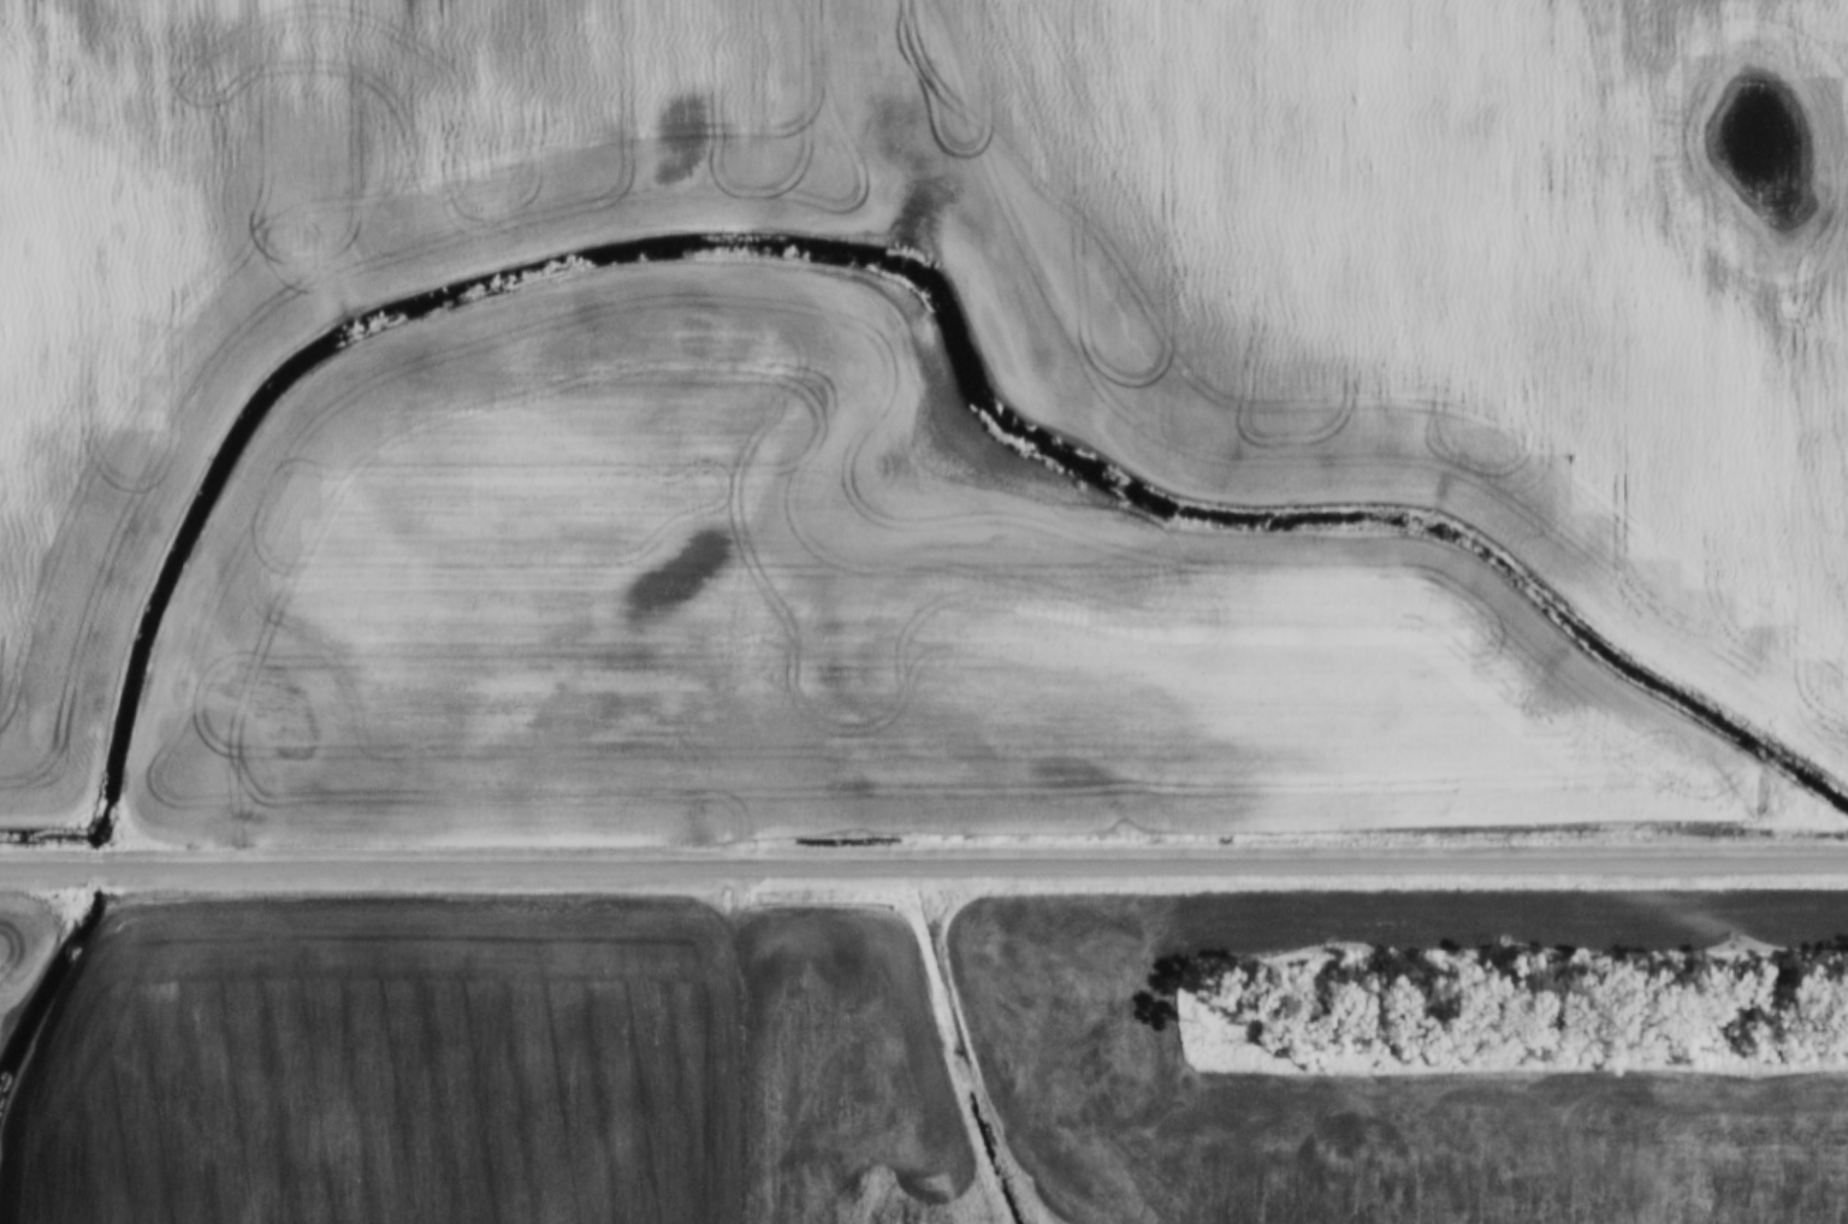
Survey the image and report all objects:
road: (924, 867)

